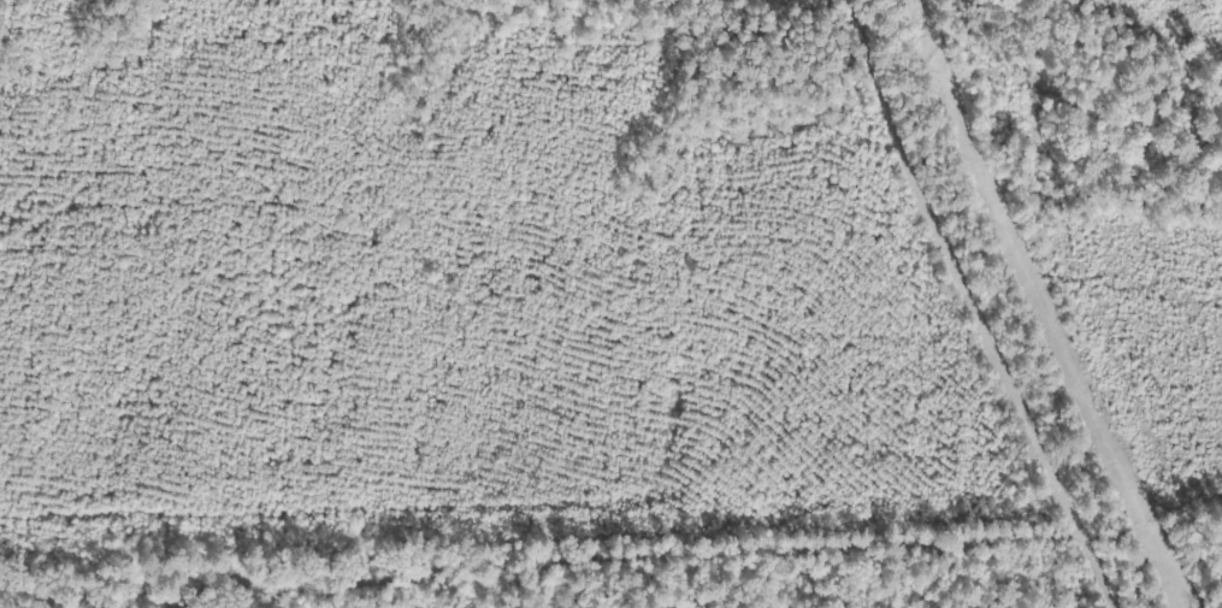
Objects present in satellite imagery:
road: (1008, 321)

